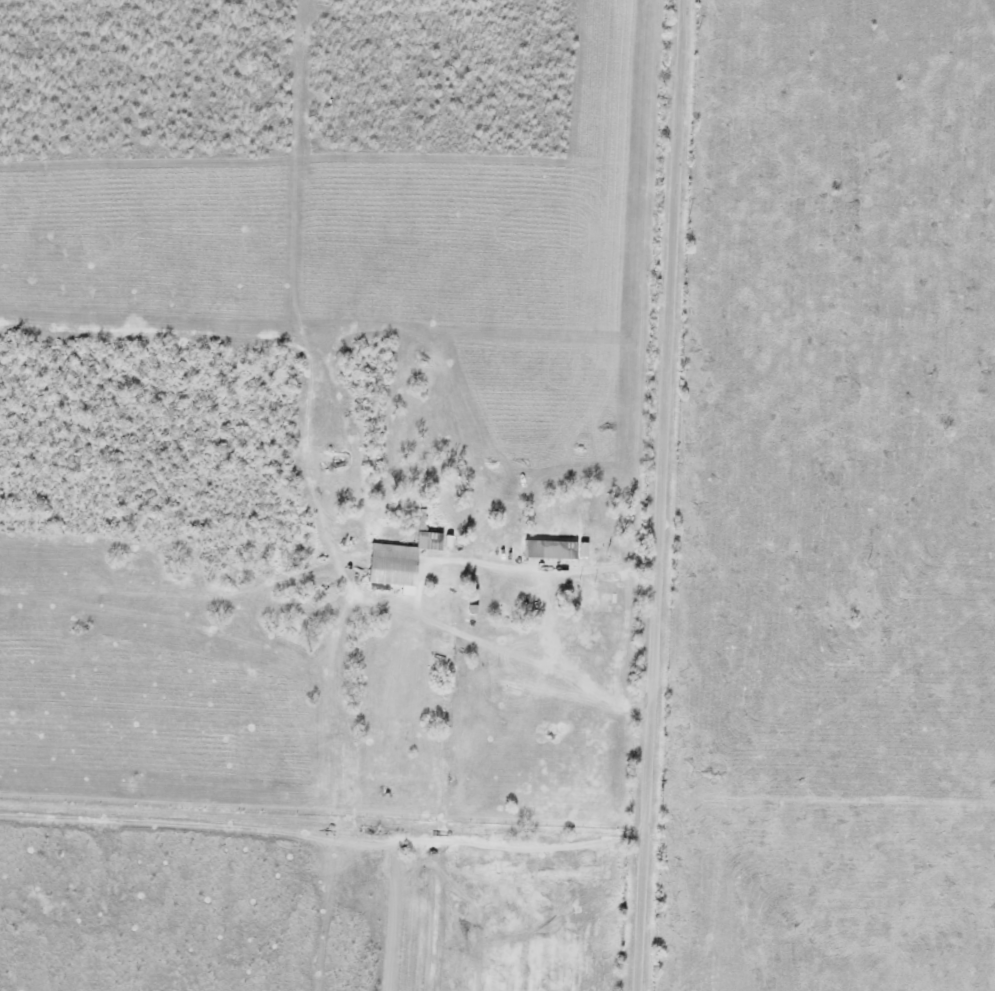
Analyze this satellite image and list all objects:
road: (661, 495)
building: (547, 549)
building: (396, 560)
building: (595, 597)
road: (447, 825)

